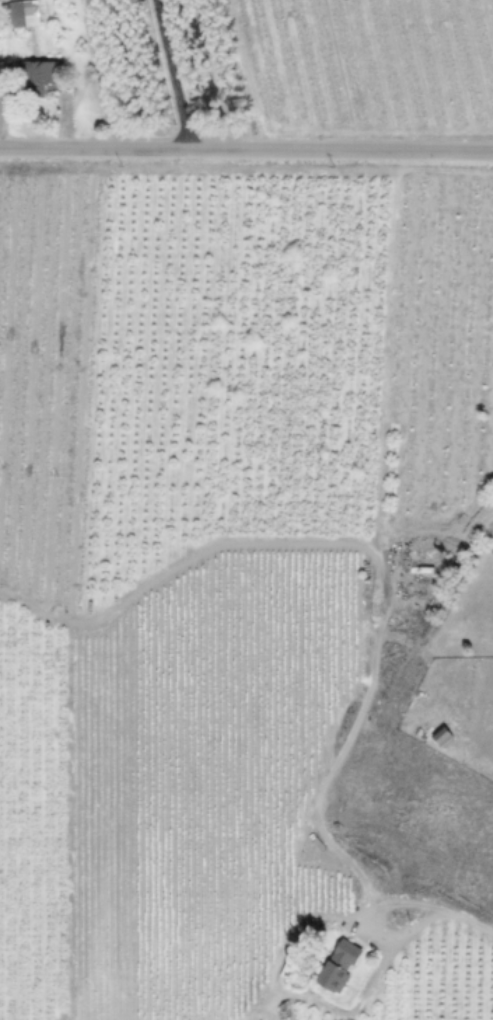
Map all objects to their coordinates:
building: (23, 14)
building: (38, 76)
road: (178, 76)
road: (246, 155)
road: (376, 606)
building: (441, 735)
building: (338, 965)

